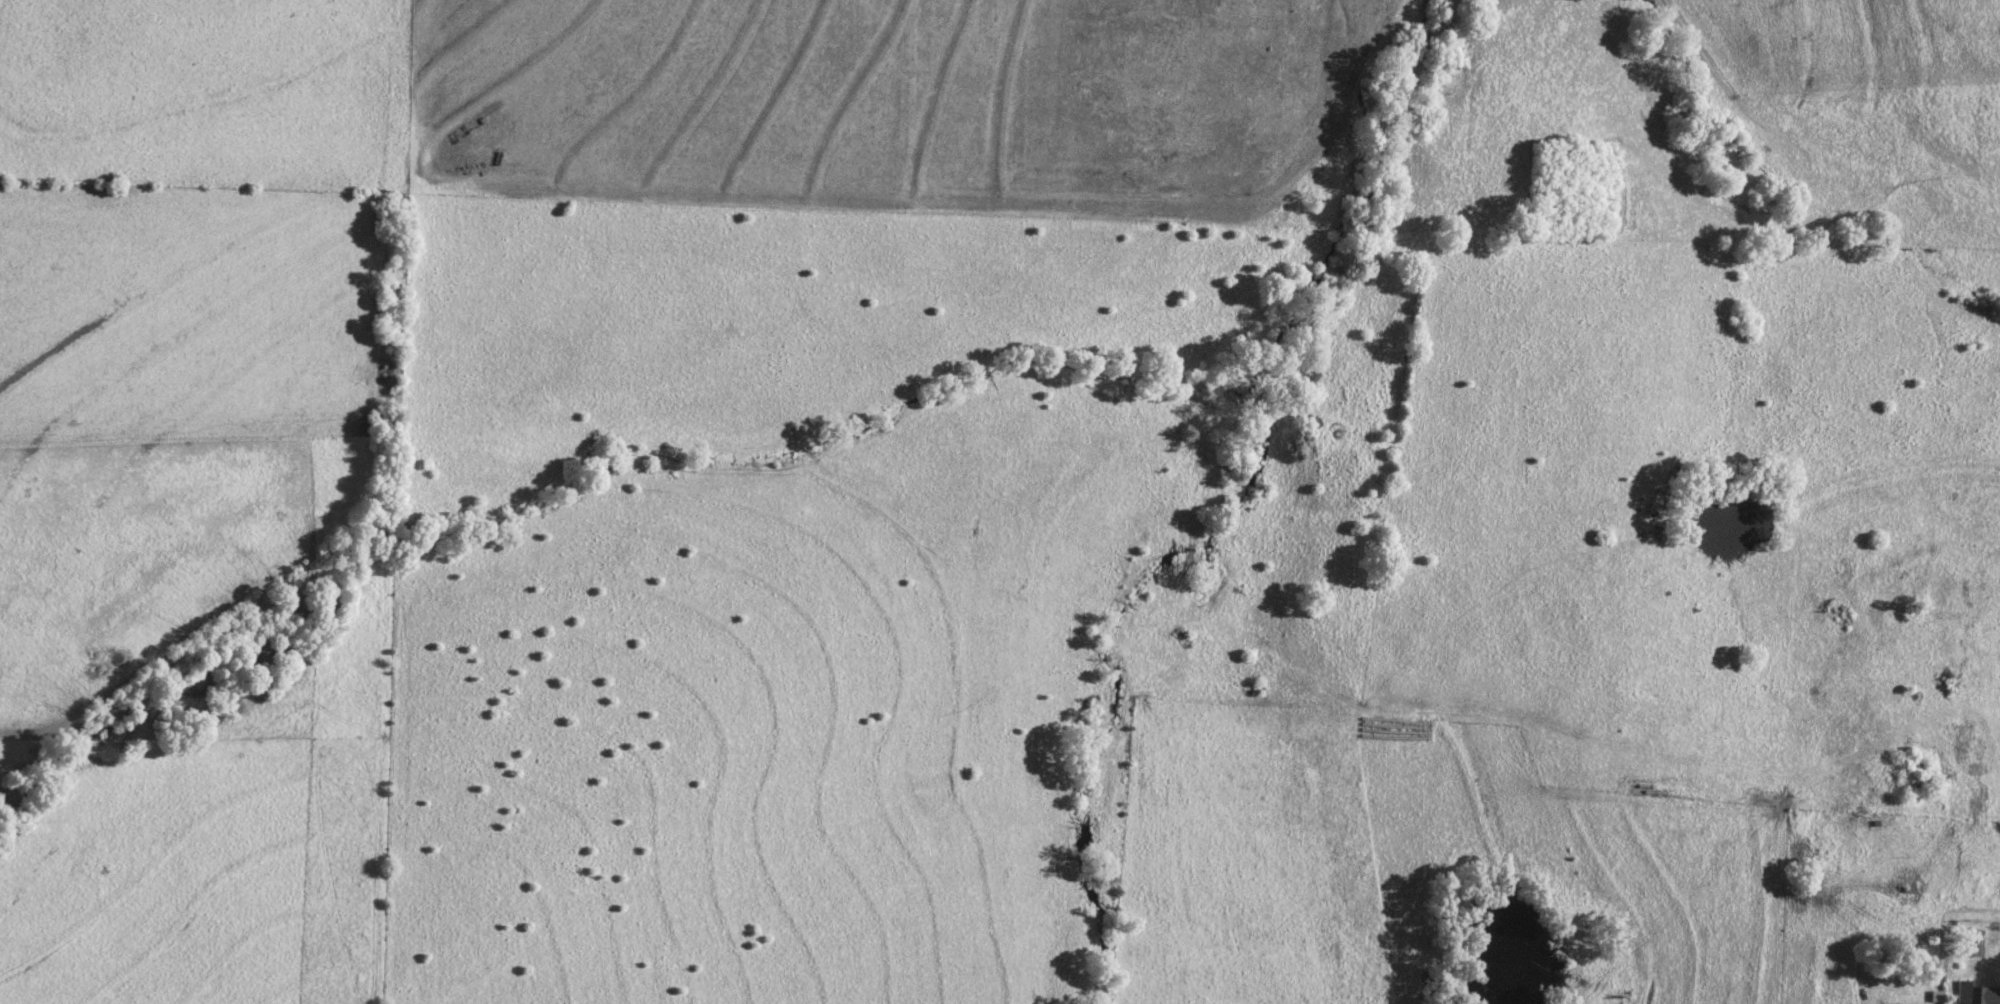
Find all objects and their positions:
building: (1971, 992)
road: (1989, 995)

